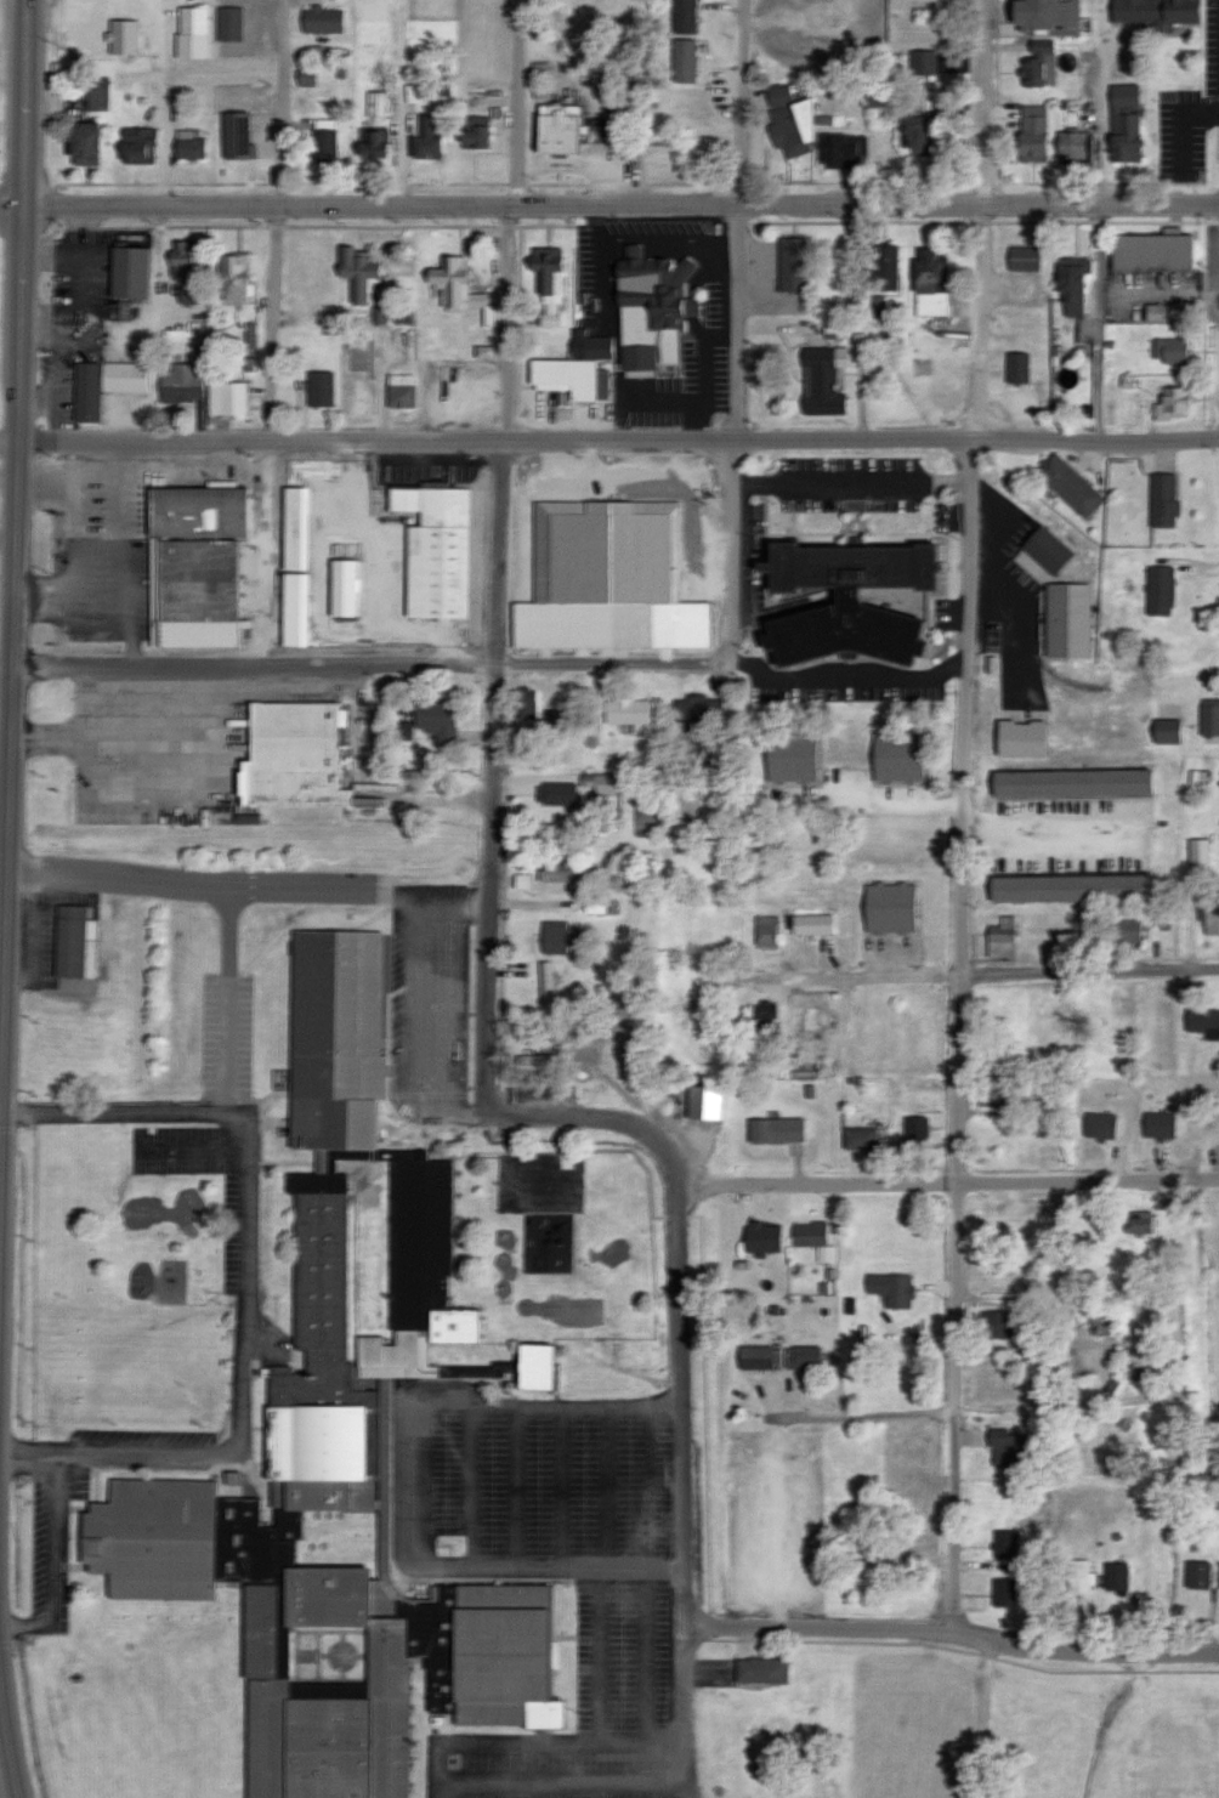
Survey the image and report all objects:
building: (685, 16)
building: (1045, 16)
building: (321, 19)
building: (231, 23)
building: (193, 32)
building: (123, 36)
building: (687, 59)
building: (924, 62)
building: (1038, 64)
building: (540, 70)
building: (307, 78)
building: (432, 90)
building: (542, 91)
building: (98, 93)
building: (871, 96)
road: (25, 103)
road: (169, 103)
road: (280, 103)
building: (378, 103)
road: (408, 103)
road: (518, 103)
road: (735, 103)
road: (986, 103)
building: (790, 121)
building: (1124, 124)
building: (555, 129)
building: (1033, 130)
building: (918, 131)
building: (472, 132)
building: (237, 136)
building: (324, 138)
building: (427, 138)
building: (84, 143)
building: (191, 144)
building: (374, 144)
building: (136, 146)
building: (1073, 147)
building: (840, 151)
road: (609, 206)
road: (1101, 219)
building: (1151, 251)
building: (185, 257)
building: (1022, 259)
building: (793, 265)
building: (888, 267)
building: (129, 272)
building: (359, 274)
building: (232, 277)
building: (549, 283)
building: (1071, 284)
building: (929, 287)
building: (458, 288)
building: (188, 294)
building: (651, 308)
building: (1155, 312)
building: (251, 336)
building: (595, 347)
building: (861, 347)
building: (1169, 350)
building: (1016, 368)
building: (571, 378)
building: (822, 380)
building: (181, 382)
road: (385, 384)
building: (103, 385)
building: (321, 388)
building: (401, 390)
building: (228, 398)
building: (1174, 404)
road: (271, 438)
road: (735, 438)
road: (608, 439)
building: (1068, 486)
building: (1163, 500)
building: (294, 529)
building: (437, 550)
building: (1047, 550)
building: (195, 566)
building: (608, 580)
building: (341, 588)
building: (1160, 591)
building: (845, 602)
building: (294, 609)
building: (1067, 620)
road: (503, 654)
road: (483, 669)
road: (15, 685)
building: (526, 703)
building: (626, 711)
building: (1209, 719)
building: (436, 721)
building: (555, 724)
building: (697, 728)
building: (407, 730)
building: (1167, 732)
building: (1021, 738)
building: (291, 758)
building: (790, 758)
building: (896, 758)
building: (601, 783)
building: (1068, 783)
building: (556, 794)
road: (1049, 826)
building: (1198, 852)
building: (523, 880)
road: (353, 886)
building: (1067, 889)
road: (4, 890)
building: (888, 907)
building: (1211, 917)
road: (964, 919)
building: (812, 924)
building: (1127, 930)
building: (770, 932)
building: (554, 937)
building: (1002, 937)
building: (74, 942)
road: (988, 976)
building: (549, 986)
building: (765, 1021)
building: (1203, 1022)
building: (562, 1036)
building: (542, 1059)
building: (994, 1091)
building: (704, 1102)
road: (123, 1117)
road: (609, 1118)
road: (0, 1122)
building: (1099, 1124)
building: (1158, 1124)
building: (915, 1129)
building: (776, 1130)
building: (858, 1139)
road: (1215, 1184)
road: (948, 1192)
building: (1139, 1221)
building: (764, 1238)
building: (813, 1238)
building: (891, 1288)
building: (1100, 1308)
building: (998, 1326)
building: (481, 1331)
building: (758, 1357)
building: (801, 1357)
building: (534, 1367)
building: (470, 1371)
road: (245, 1400)
road: (685, 1412)
road: (877, 1419)
building: (1009, 1447)
building: (339, 1473)
road: (650, 1486)
road: (557, 1487)
building: (1004, 1545)
building: (1197, 1575)
building: (1116, 1576)
building: (1081, 1577)
building: (1003, 1593)
road: (953, 1634)
building: (760, 1671)
road: (643, 1674)
road: (686, 1712)
road: (10, 1745)
road: (449, 1779)

